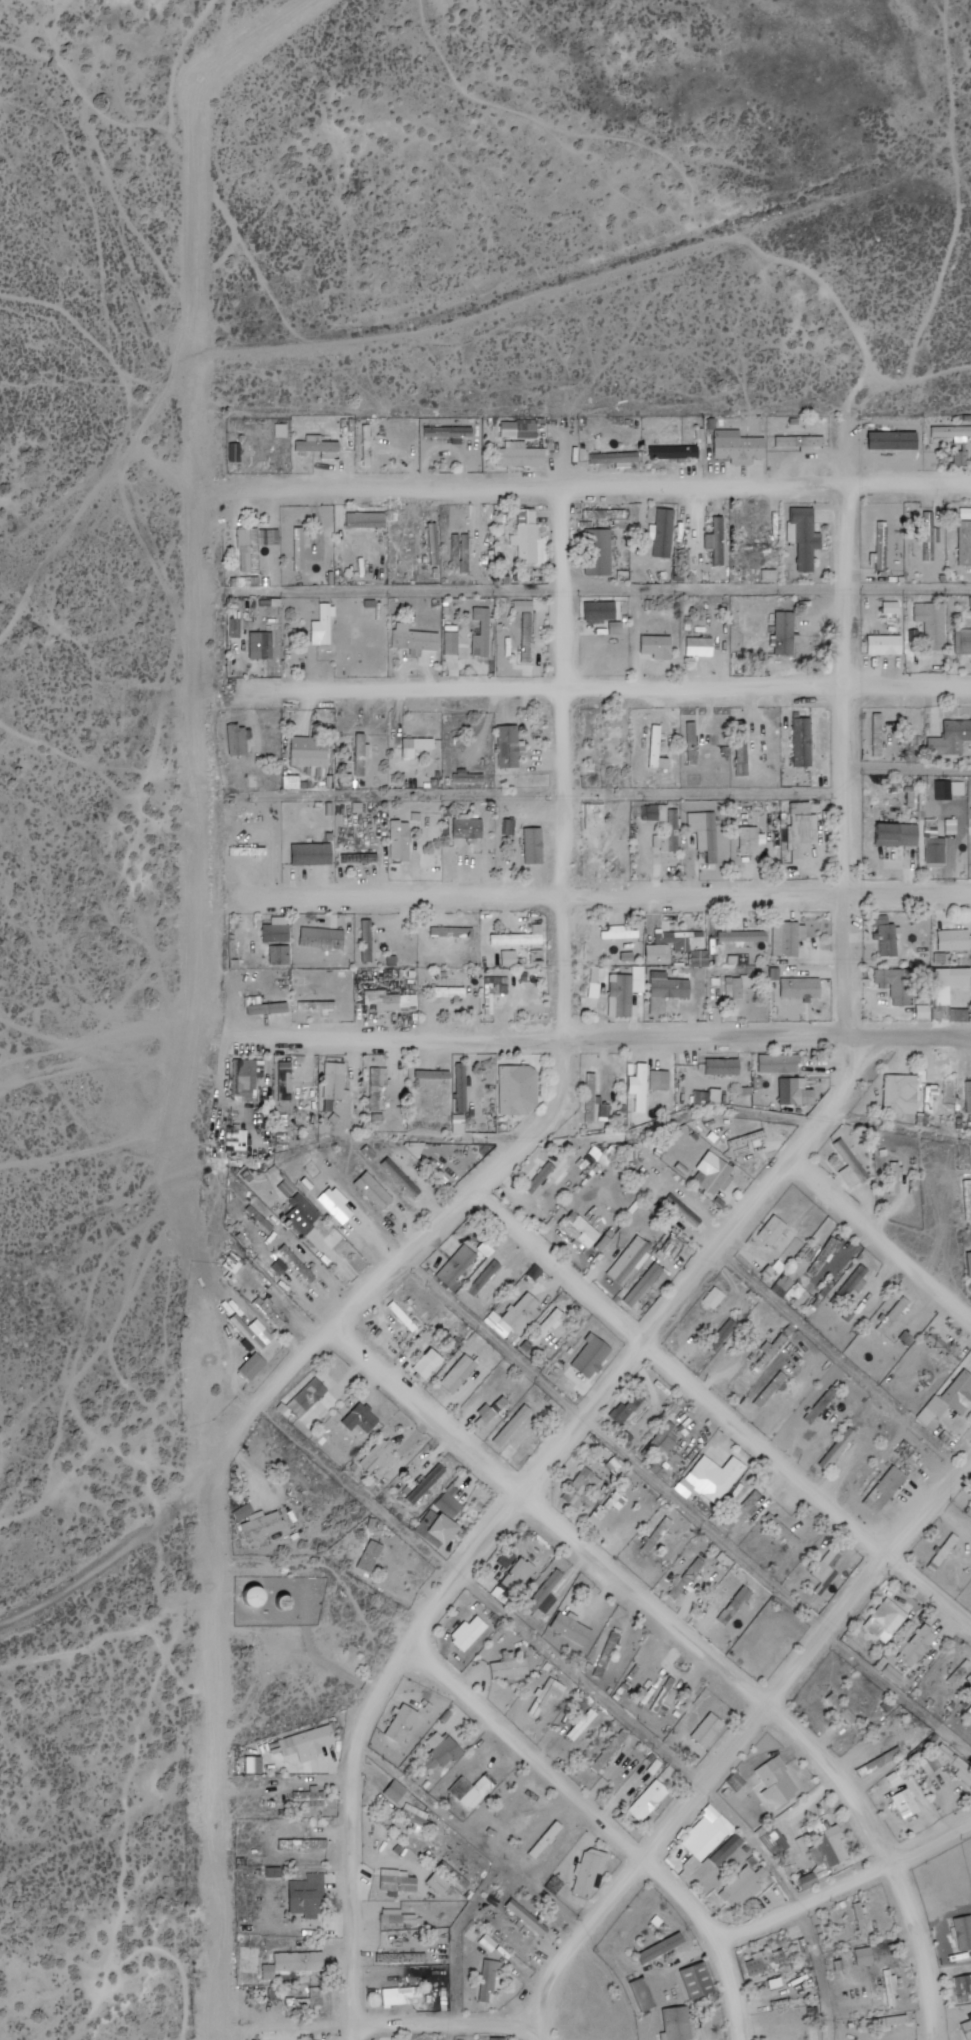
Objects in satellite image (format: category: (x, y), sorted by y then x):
building: (962, 433)
building: (802, 442)
building: (892, 443)
building: (369, 445)
building: (742, 448)
building: (676, 452)
building: (522, 456)
building: (964, 456)
building: (616, 458)
road: (605, 484)
building: (368, 519)
building: (666, 532)
building: (531, 534)
building: (932, 535)
building: (966, 535)
building: (807, 539)
building: (406, 543)
building: (437, 543)
building: (257, 544)
building: (884, 545)
building: (463, 551)
building: (604, 554)
building: (248, 581)
road: (541, 589)
building: (603, 611)
building: (933, 622)
building: (319, 629)
building: (475, 629)
building: (256, 630)
building: (788, 633)
building: (532, 637)
building: (416, 638)
building: (964, 640)
building: (703, 644)
building: (888, 644)
building: (660, 646)
road: (599, 684)
building: (959, 728)
building: (880, 733)
building: (240, 739)
building: (805, 741)
building: (694, 742)
road: (566, 743)
building: (418, 746)
building: (511, 746)
building: (660, 748)
building: (313, 751)
building: (364, 754)
building: (294, 781)
road: (597, 788)
building: (471, 828)
building: (806, 831)
building: (708, 832)
building: (900, 833)
building: (754, 838)
building: (403, 840)
building: (530, 843)
building: (674, 845)
building: (939, 850)
building: (314, 853)
building: (361, 856)
road: (598, 900)
building: (445, 930)
building: (278, 932)
building: (745, 935)
building: (324, 937)
building: (782, 937)
building: (956, 938)
building: (369, 939)
building: (677, 946)
road: (853, 946)
building: (951, 983)
building: (804, 985)
building: (673, 988)
building: (739, 989)
building: (623, 994)
building: (395, 1000)
building: (324, 1001)
building: (671, 1006)
building: (926, 1010)
road: (770, 1036)
road: (403, 1041)
building: (781, 1062)
building: (244, 1076)
building: (381, 1081)
building: (521, 1090)
building: (792, 1091)
building: (904, 1094)
building: (970, 1097)
building: (645, 1098)
building: (932, 1098)
power tower: (228, 1132)
building: (852, 1164)
building: (715, 1172)
building: (896, 1176)
building: (376, 1190)
building: (968, 1198)
building: (306, 1216)
building: (581, 1230)
road: (882, 1238)
building: (492, 1245)
building: (629, 1258)
building: (460, 1266)
building: (486, 1277)
building: (648, 1285)
building: (851, 1285)
building: (800, 1294)
building: (717, 1297)
road: (352, 1307)
building: (520, 1317)
building: (409, 1318)
building: (725, 1334)
power tower: (957, 1337)
building: (775, 1350)
building: (595, 1357)
building: (430, 1363)
building: (460, 1373)
road: (681, 1374)
building: (774, 1389)
building: (959, 1389)
building: (314, 1399)
building: (631, 1408)
road: (427, 1410)
building: (493, 1410)
building: (362, 1418)
building: (841, 1449)
building: (377, 1455)
building: (721, 1479)
building: (588, 1482)
building: (430, 1483)
building: (888, 1489)
building: (621, 1511)
building: (258, 1521)
building: (442, 1524)
building: (786, 1529)
building: (660, 1534)
building: (946, 1552)
building: (373, 1556)
building: (831, 1568)
building: (520, 1577)
building: (690, 1577)
road: (929, 1588)
road: (55, 1596)
building: (742, 1605)
building: (889, 1619)
building: (574, 1628)
building: (471, 1632)
building: (920, 1645)
road: (406, 1648)
building: (770, 1648)
building: (609, 1654)
building: (512, 1669)
building: (959, 1678)
building: (549, 1695)
building: (970, 1707)
building: (844, 1708)
building: (701, 1720)
building: (404, 1723)
road: (790, 1725)
building: (582, 1728)
road: (744, 1737)
building: (315, 1742)
building: (612, 1751)
building: (447, 1752)
building: (951, 1761)
building: (883, 1762)
building: (780, 1784)
building: (473, 1791)
building: (311, 1798)
building: (650, 1801)
building: (907, 1805)
building: (514, 1807)
building: (422, 1818)
road: (605, 1824)
building: (548, 1839)
building: (715, 1841)
building: (777, 1842)
building: (309, 1844)
building: (832, 1844)
building: (593, 1872)
building: (400, 1879)
road: (845, 1882)
building: (440, 1884)
building: (747, 1886)
building: (310, 1895)
building: (867, 1915)
building: (965, 1933)
building: (664, 1947)
building: (866, 1956)
building: (769, 1961)
building: (297, 1963)
building: (493, 1974)
building: (701, 1980)
building: (893, 1988)
building: (646, 1994)
building: (404, 1996)
road: (447, 2024)
building: (679, 2024)
building: (968, 2028)
road: (540, 2032)

